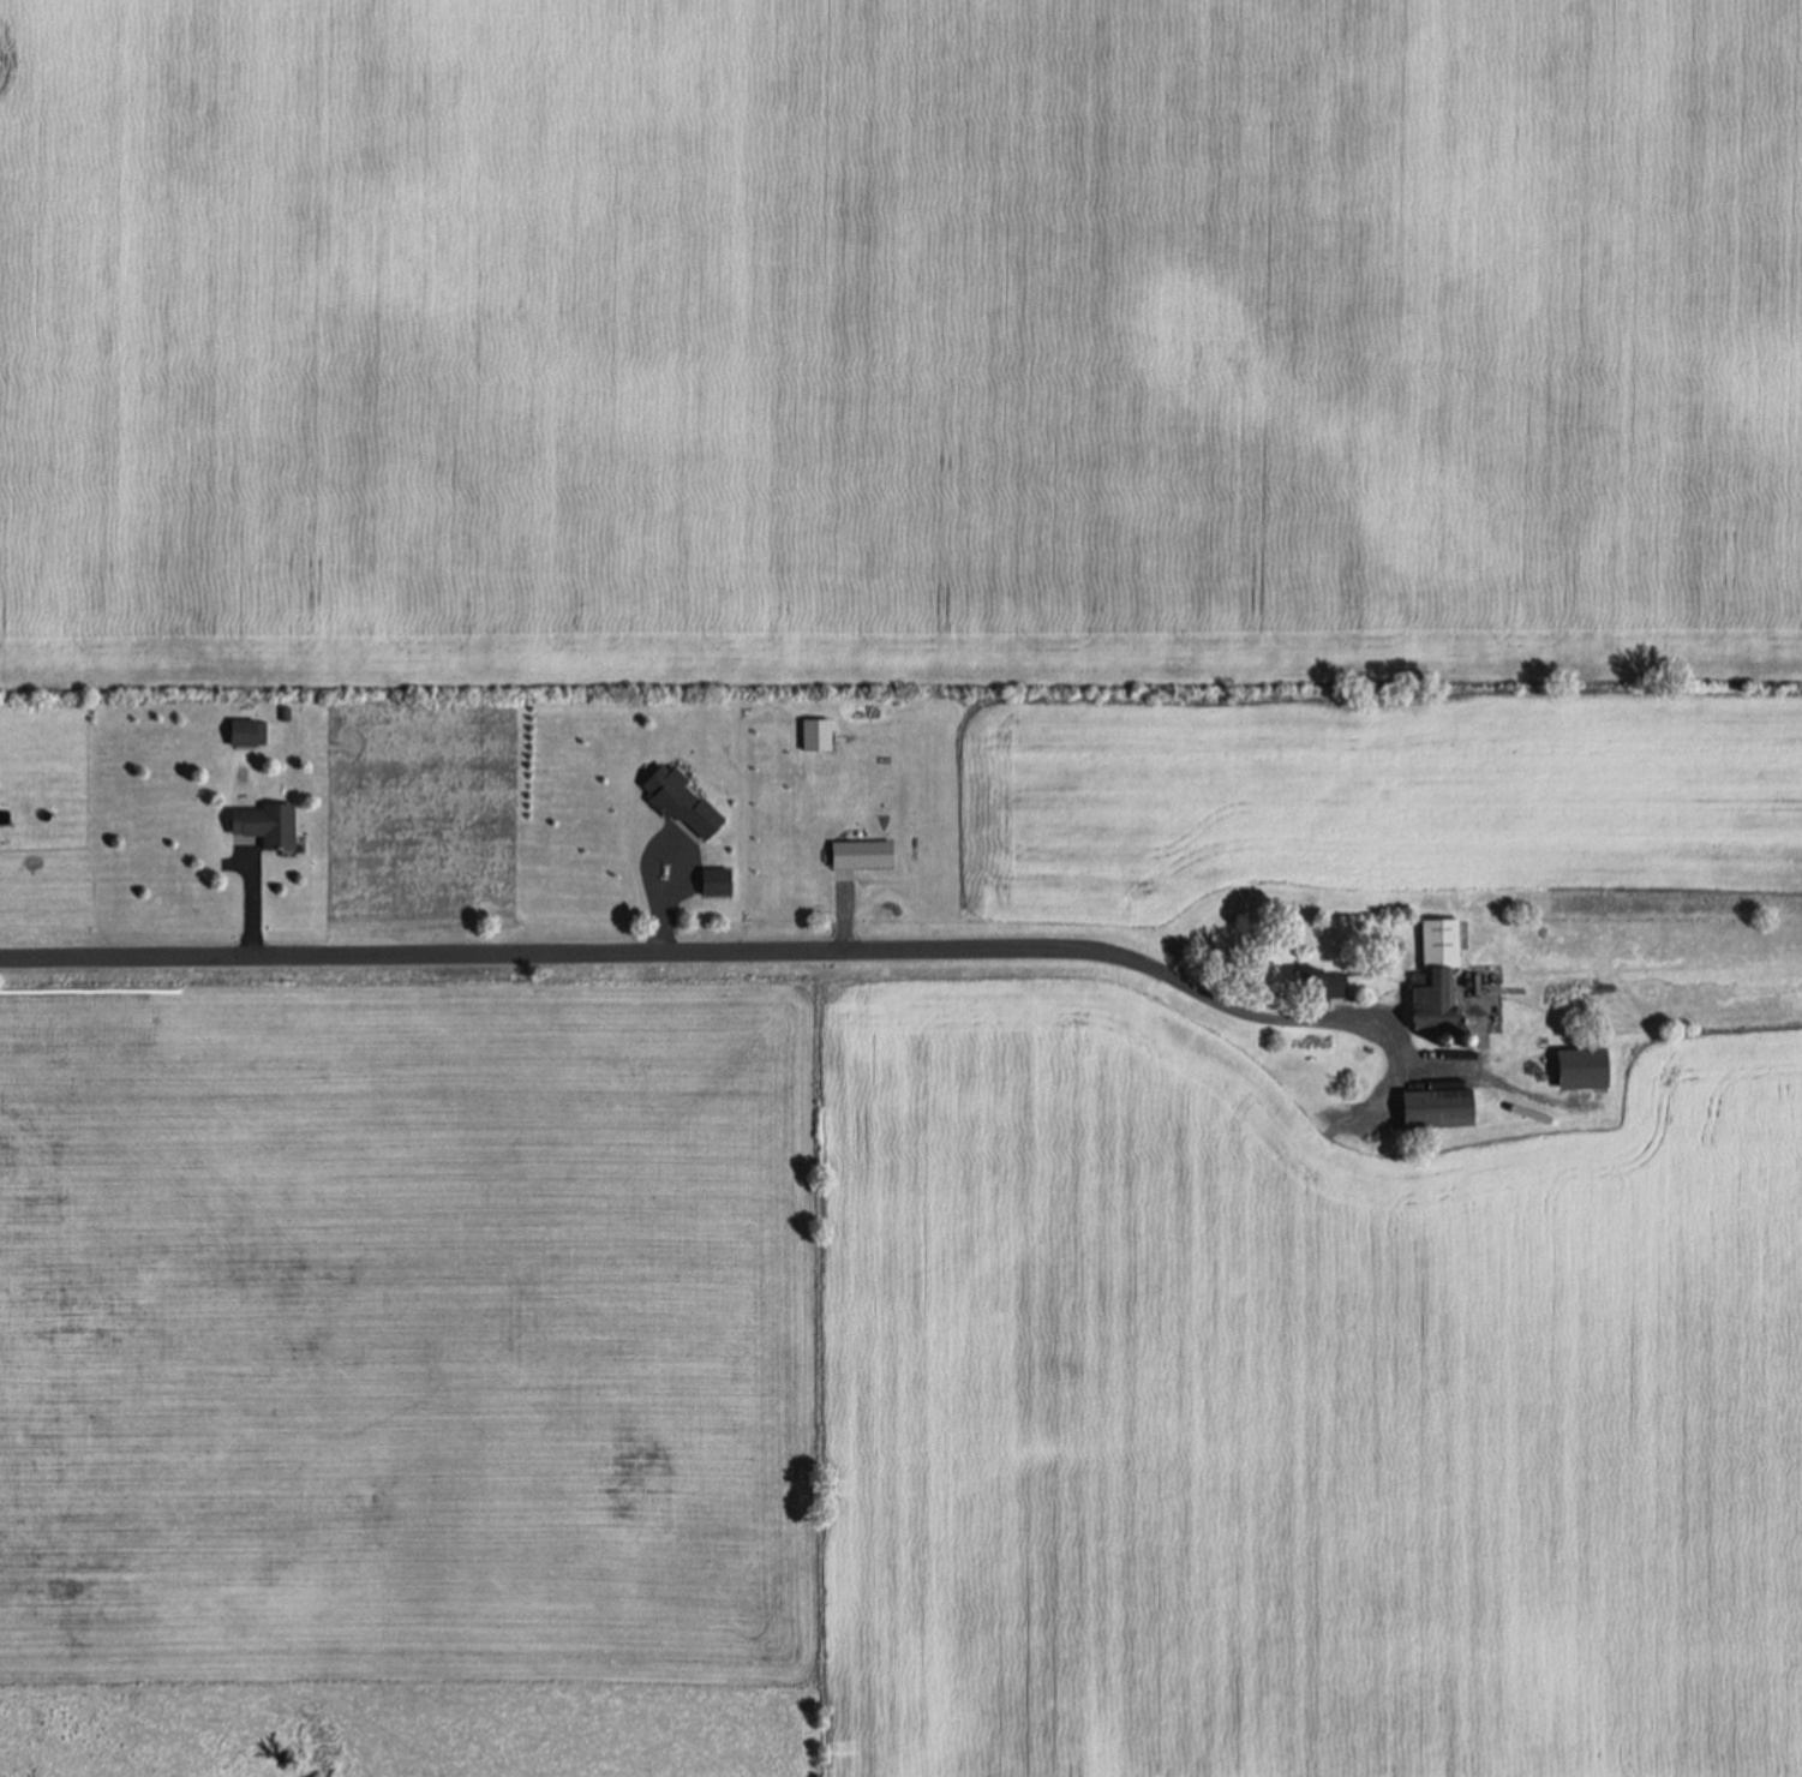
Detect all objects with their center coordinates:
building: (240, 731)
building: (261, 825)
building: (1437, 943)
road: (704, 950)
building: (1328, 985)
building: (1578, 1067)
building: (1433, 1107)

